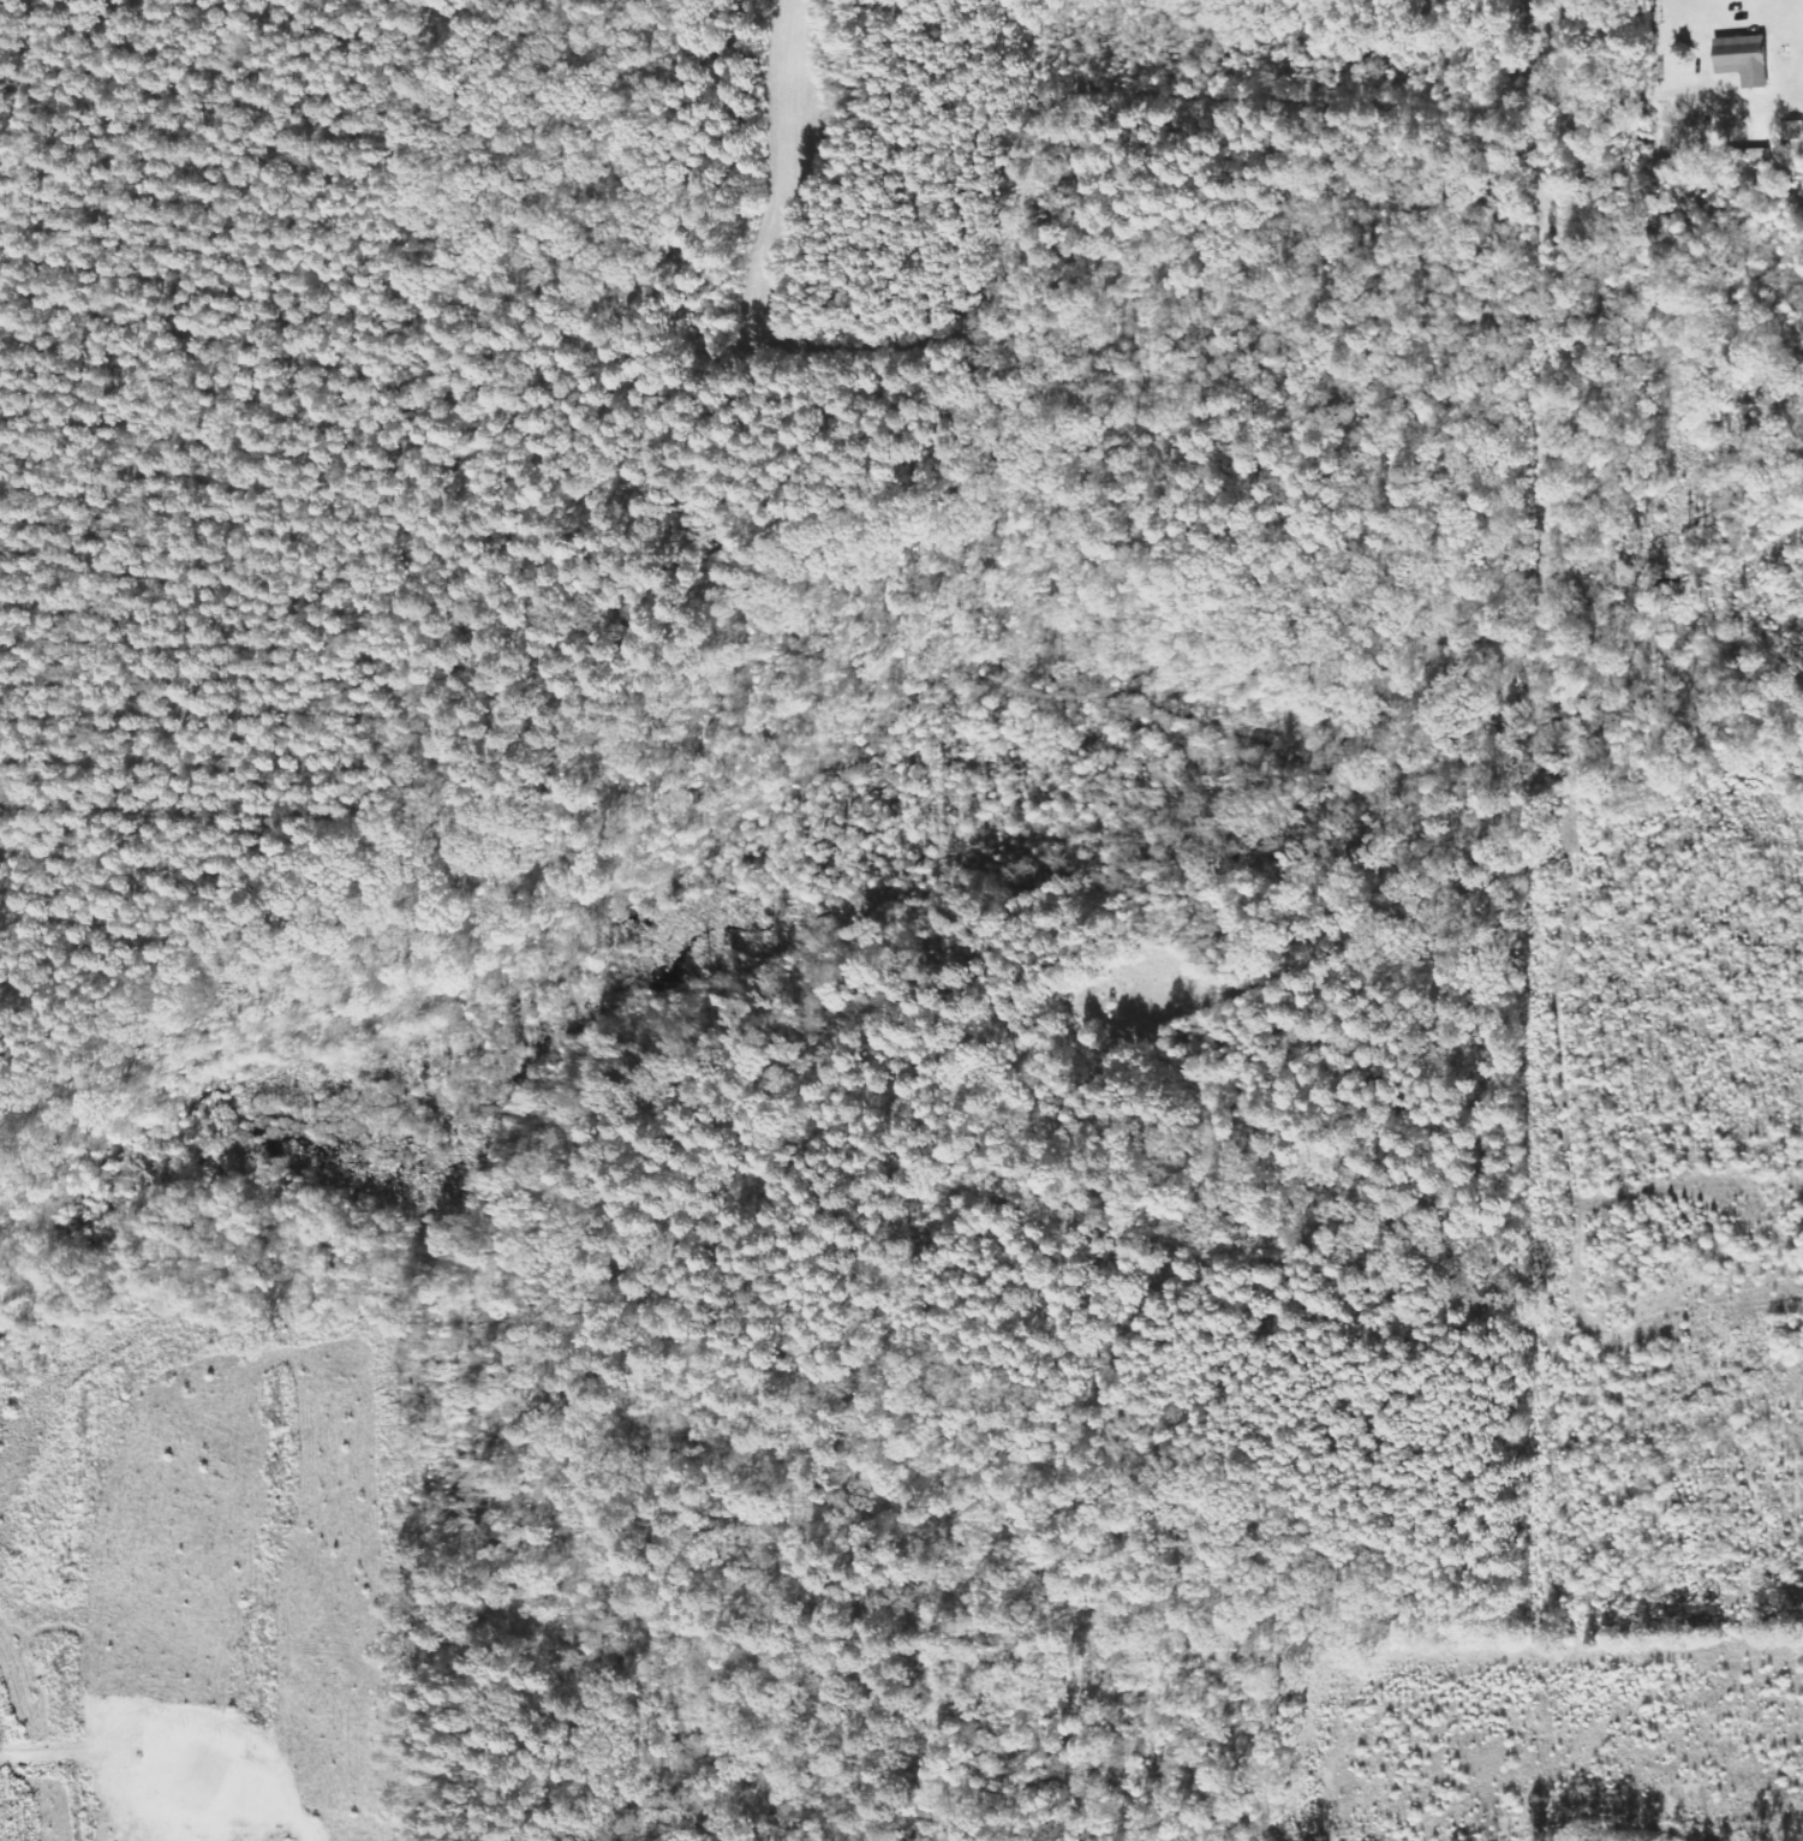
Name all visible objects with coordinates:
building: (1739, 60)
road: (1759, 111)

